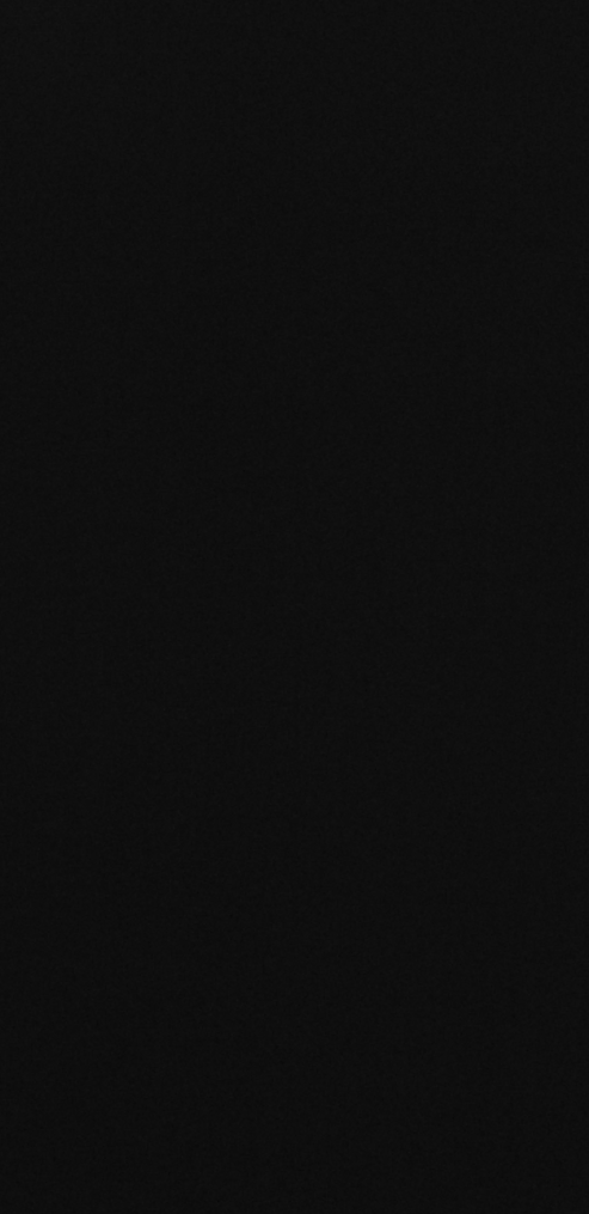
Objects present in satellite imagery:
river: (294, 1032)

